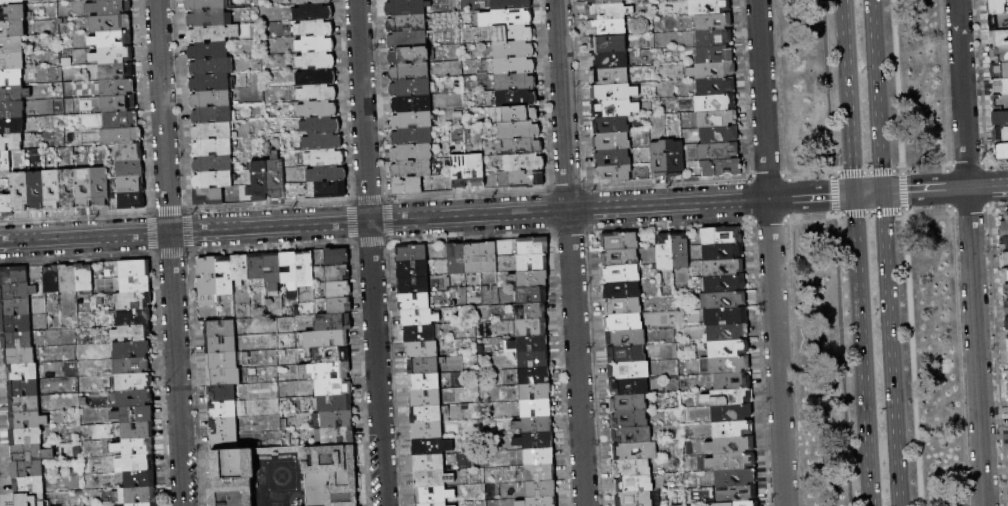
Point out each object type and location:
building: (88, 0)
building: (391, 0)
building: (11, 2)
building: (308, 2)
building: (603, 2)
building: (510, 4)
building: (210, 5)
building: (109, 7)
building: (406, 7)
building: (709, 7)
building: (997, 7)
building: (314, 12)
building: (608, 12)
building: (14, 13)
building: (208, 18)
building: (507, 18)
building: (714, 22)
building: (998, 22)
building: (111, 23)
building: (406, 23)
building: (315, 28)
building: (606, 28)
building: (12, 29)
building: (212, 33)
building: (513, 33)
building: (999, 38)
building: (407, 39)
building: (715, 39)
building: (112, 40)
building: (316, 44)
building: (607, 44)
building: (11, 45)
building: (514, 49)
building: (208, 50)
building: (714, 54)
building: (999, 54)
building: (411, 55)
building: (113, 56)
building: (317, 60)
building: (609, 60)
building: (12, 62)
building: (515, 65)
building: (211, 67)
building: (999, 70)
building: (713, 71)
building: (117, 72)
building: (409, 72)
building: (317, 77)
building: (609, 77)
building: (11, 78)
building: (516, 81)
building: (211, 83)
road: (897, 85)
building: (716, 87)
road: (826, 87)
building: (1000, 87)
building: (118, 88)
building: (410, 88)
building: (318, 93)
building: (614, 93)
building: (14, 94)
road: (876, 95)
road: (848, 96)
building: (517, 98)
building: (209, 99)
building: (410, 103)
building: (716, 103)
building: (1000, 103)
building: (119, 104)
building: (319, 109)
building: (615, 109)
building: (12, 110)
building: (517, 114)
building: (214, 115)
building: (717, 119)
building: (1000, 119)
building: (122, 120)
building: (411, 120)
building: (319, 125)
building: (611, 125)
building: (12, 126)
building: (520, 130)
building: (213, 131)
building: (719, 135)
building: (1001, 135)
building: (122, 136)
building: (412, 136)
building: (323, 141)
building: (611, 141)
building: (11, 142)
building: (523, 146)
building: (213, 147)
building: (129, 152)
building: (411, 152)
building: (718, 152)
building: (1001, 152)
building: (322, 157)
building: (611, 158)
building: (659, 159)
building: (676, 159)
building: (5, 161)
building: (525, 162)
building: (212, 164)
building: (721, 167)
traffic signals: (852, 168)
building: (130, 169)
building: (411, 169)
building: (476, 171)
building: (460, 172)
road: (866, 173)
building: (327, 174)
building: (613, 174)
building: (276, 177)
building: (527, 179)
building: (212, 180)
building: (260, 182)
building: (131, 185)
building: (407, 185)
road: (988, 185)
building: (101, 187)
building: (85, 188)
building: (68, 189)
road: (925, 189)
building: (52, 190)
building: (331, 190)
building: (36, 191)
road: (903, 191)
traffic signals: (905, 191)
building: (19, 192)
road: (867, 193)
road: (810, 195)
traffic signals: (829, 195)
road: (832, 195)
building: (209, 197)
building: (132, 201)
building: (6, 205)
road: (868, 213)
traffic signals: (884, 215)
road: (384, 220)
building: (1005, 226)
building: (721, 235)
building: (619, 241)
building: (1004, 243)
building: (533, 246)
building: (681, 250)
building: (664, 251)
road: (170, 252)
road: (571, 252)
building: (723, 252)
road: (971, 252)
road: (369, 253)
building: (411, 253)
road: (771, 253)
park: (871, 253)
building: (337, 257)
building: (488, 257)
building: (620, 257)
building: (472, 258)
building: (456, 259)
building: (1004, 259)
building: (533, 263)
building: (257, 267)
building: (134, 268)
building: (240, 269)
building: (305, 269)
building: (724, 269)
building: (412, 270)
building: (273, 271)
building: (290, 273)
building: (621, 273)
building: (338, 274)
building: (14, 275)
building: (224, 275)
building: (84, 277)
building: (206, 277)
building: (1004, 277)
building: (68, 279)
building: (530, 279)
building: (52, 281)
building: (136, 284)
building: (725, 285)
building: (413, 286)
building: (339, 290)
building: (622, 290)
building: (17, 291)
building: (1007, 293)
building: (532, 295)
building: (134, 300)
building: (726, 301)
building: (414, 302)
building: (339, 306)
building: (623, 306)
building: (15, 307)
building: (1006, 308)
building: (531, 311)
building: (132, 317)
building: (726, 317)
building: (419, 318)
building: (333, 323)
building: (623, 323)
building: (1006, 323)
building: (15, 324)
building: (532, 327)
building: (220, 329)
building: (728, 332)
building: (133, 333)
building: (420, 334)
building: (1007, 337)
building: (626, 338)
building: (324, 339)
building: (16, 340)
building: (529, 344)
building: (221, 345)
road: (890, 348)
building: (729, 349)
road: (862, 349)
building: (131, 350)
building: (423, 350)
building: (1007, 354)
building: (331, 355)
building: (626, 355)
building: (19, 356)
road: (912, 358)
building: (534, 359)
road: (841, 360)
building: (222, 361)
building: (725, 365)
building: (132, 366)
building: (424, 367)
building: (628, 370)
building: (325, 371)
building: (22, 372)
building: (1007, 373)
building: (535, 375)
building: (223, 377)
building: (733, 380)
building: (131, 382)
building: (425, 382)
building: (629, 386)
building: (335, 387)
building: (23, 389)
building: (536, 391)
building: (221, 394)
building: (729, 397)
building: (132, 398)
building: (426, 398)
building: (334, 403)
building: (628, 403)
building: (24, 404)
building: (537, 408)
building: (222, 410)
building: (134, 414)
building: (732, 414)
building: (426, 415)
building: (337, 419)
building: (629, 419)
building: (28, 420)
building: (534, 424)
building: (223, 426)
building: (733, 429)
building: (137, 430)
building: (427, 431)
building: (632, 435)
building: (338, 436)
building: (26, 437)
building: (535, 440)
building: (224, 442)
building: (731, 445)
building: (432, 446)
building: (133, 447)
building: (635, 451)
building: (31, 453)
building: (540, 457)
building: (733, 462)
building: (136, 463)
building: (428, 463)
building: (632, 468)
building: (27, 469)
building: (540, 473)
building: (330, 475)
building: (232, 476)
building: (736, 478)
building: (139, 479)
building: (433, 479)
building: (634, 484)
building: (29, 485)
building: (541, 489)
building: (737, 494)
building: (434, 495)
building: (135, 496)
building: (638, 498)
building: (31, 500)
building: (539, 501)
building: (144, 504)
building: (434, 504)
building: (739, 504)

